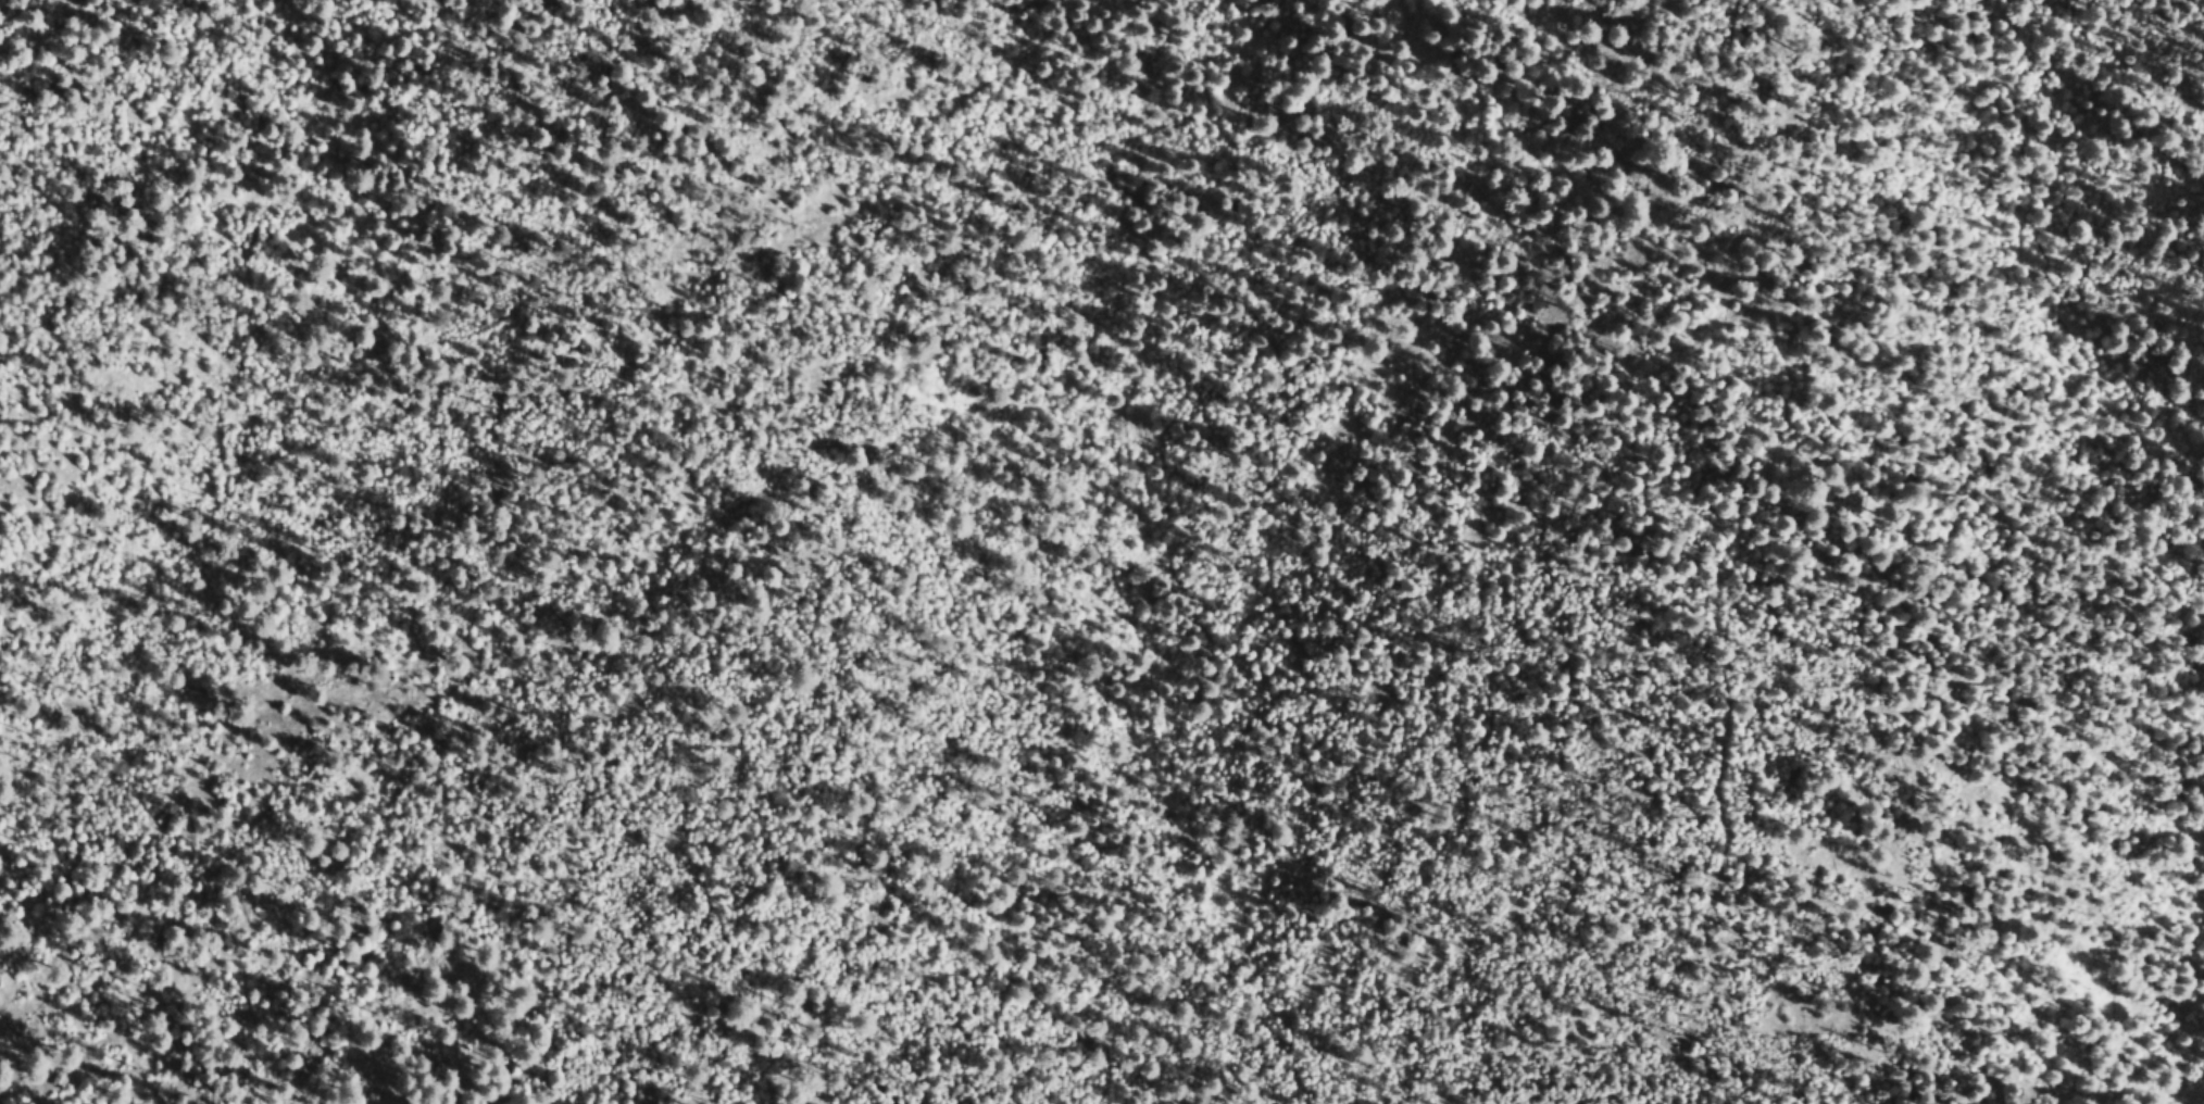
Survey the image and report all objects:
road: (1737, 623)

